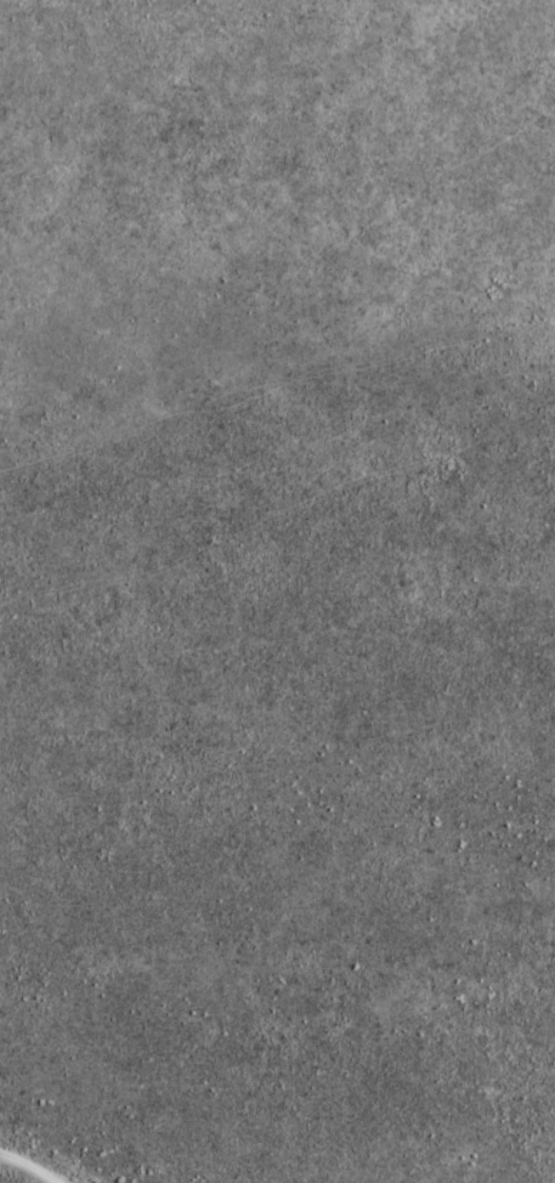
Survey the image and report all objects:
road: (95, 1133)

